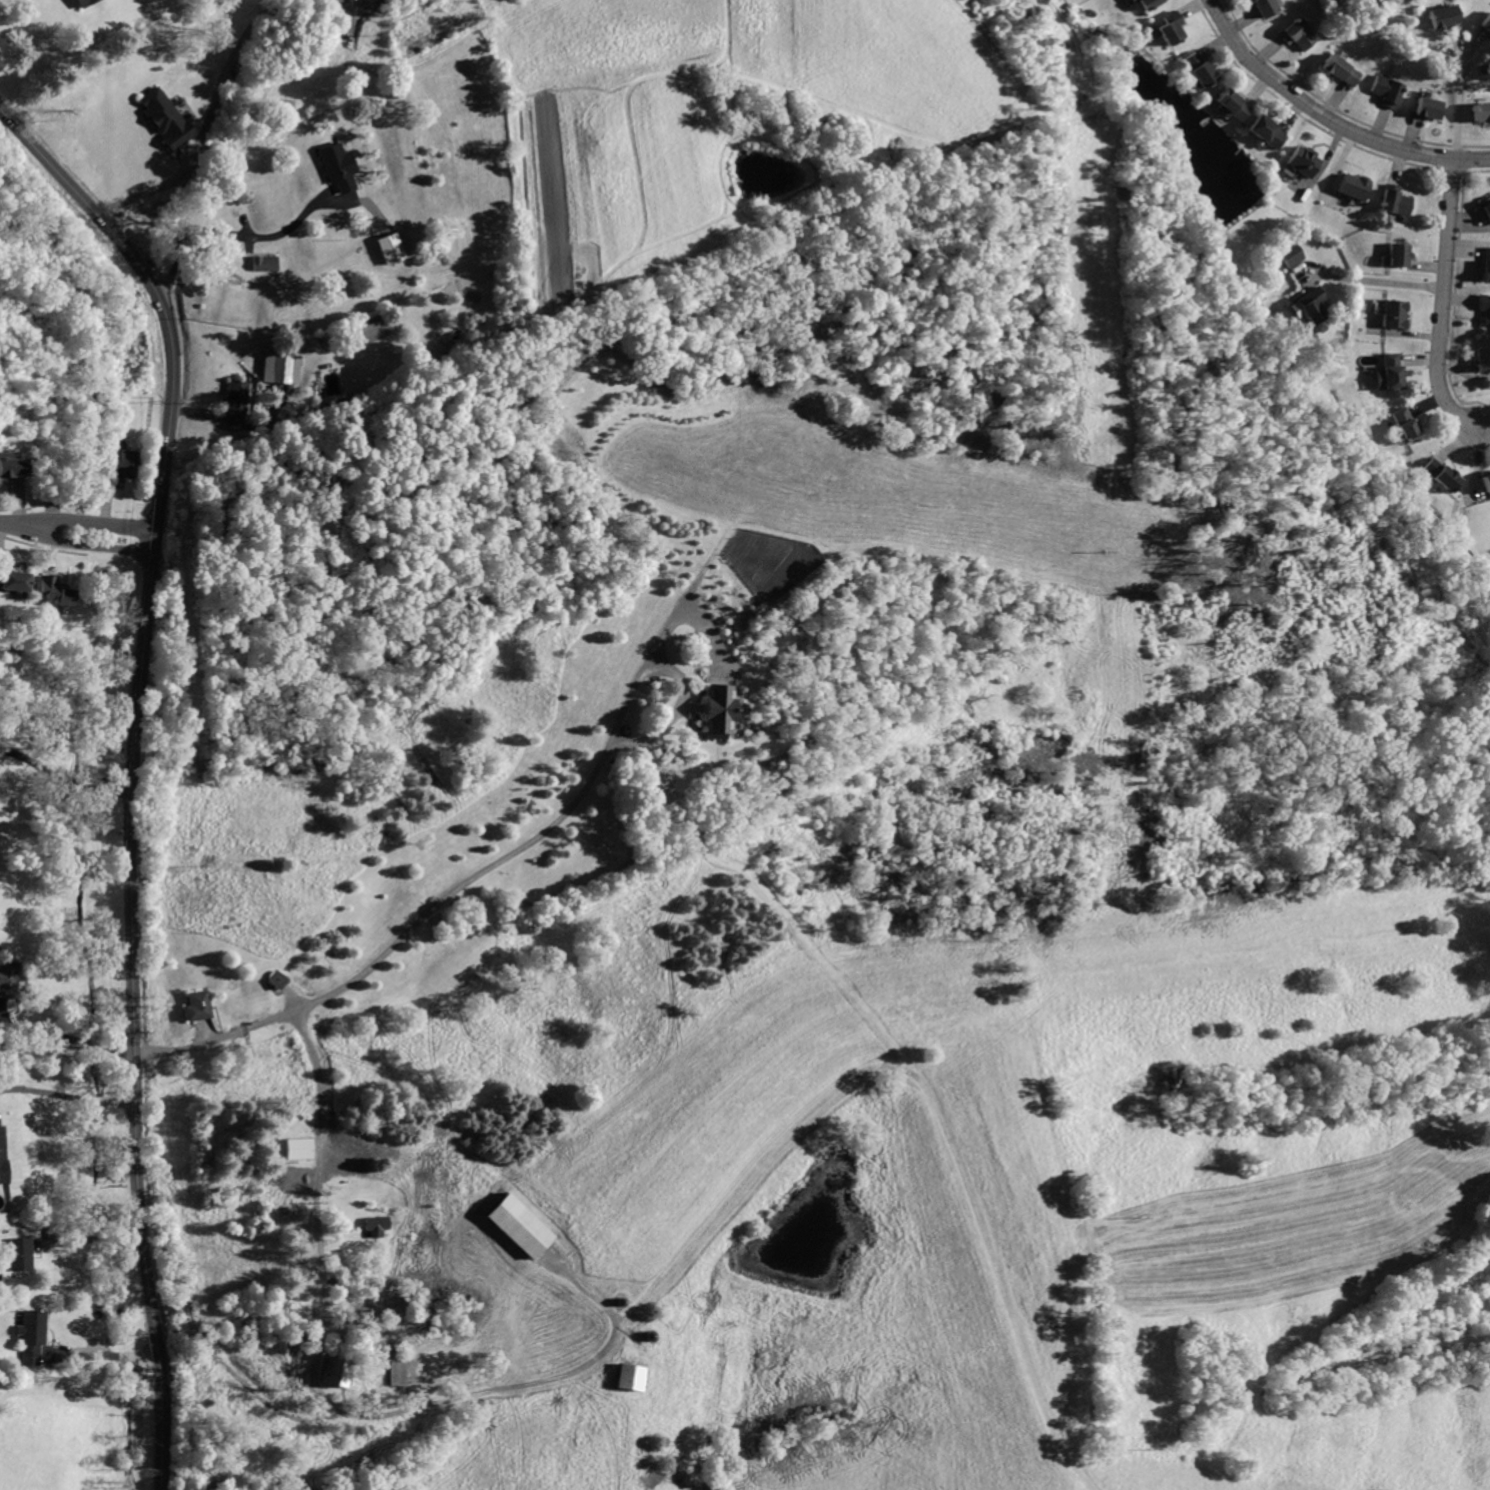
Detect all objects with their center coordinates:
building: (353, 0)
building: (82, 3)
building: (1148, 3)
building: (1266, 7)
building: (1445, 16)
building: (1486, 23)
building: (1171, 28)
building: (1298, 33)
road: (1458, 43)
road: (1477, 46)
road: (228, 67)
building: (1201, 68)
building: (1344, 70)
building: (1389, 90)
building: (1232, 105)
building: (1432, 107)
road: (1460, 110)
building: (1482, 110)
road: (1328, 116)
building: (163, 118)
building: (1267, 132)
building: (1305, 161)
building: (337, 166)
building: (1356, 186)
road: (156, 187)
building: (1395, 201)
road: (359, 202)
building: (1488, 208)
road: (238, 235)
road: (255, 245)
building: (392, 247)
building: (1290, 253)
building: (1399, 254)
building: (266, 262)
building: (1486, 264)
road: (1308, 266)
road: (1305, 279)
road: (1381, 281)
road: (1445, 300)
building: (1312, 305)
building: (1485, 307)
building: (1396, 313)
building: (1483, 360)
building: (277, 368)
building: (1389, 373)
building: (237, 402)
building: (1405, 423)
building: (115, 464)
building: (11, 466)
building: (1442, 474)
building: (1487, 483)
road: (83, 522)
road: (7, 524)
road: (151, 540)
road: (81, 544)
building: (11, 580)
building: (51, 589)
road: (671, 711)
building: (716, 712)
road: (139, 767)
road: (63, 784)
road: (557, 820)
building: (9, 977)
building: (277, 980)
building: (198, 1007)
road: (47, 1032)
road: (115, 1035)
road: (115, 1049)
road: (68, 1093)
road: (781, 1136)
building: (295, 1150)
building: (1, 1155)
crop: (1005, 1220)
building: (377, 1225)
building: (517, 1228)
road: (88, 1236)
road: (318, 1238)
building: (17, 1253)
building: (30, 1336)
road: (102, 1353)
building: (397, 1369)
building: (336, 1370)
building: (629, 1376)

